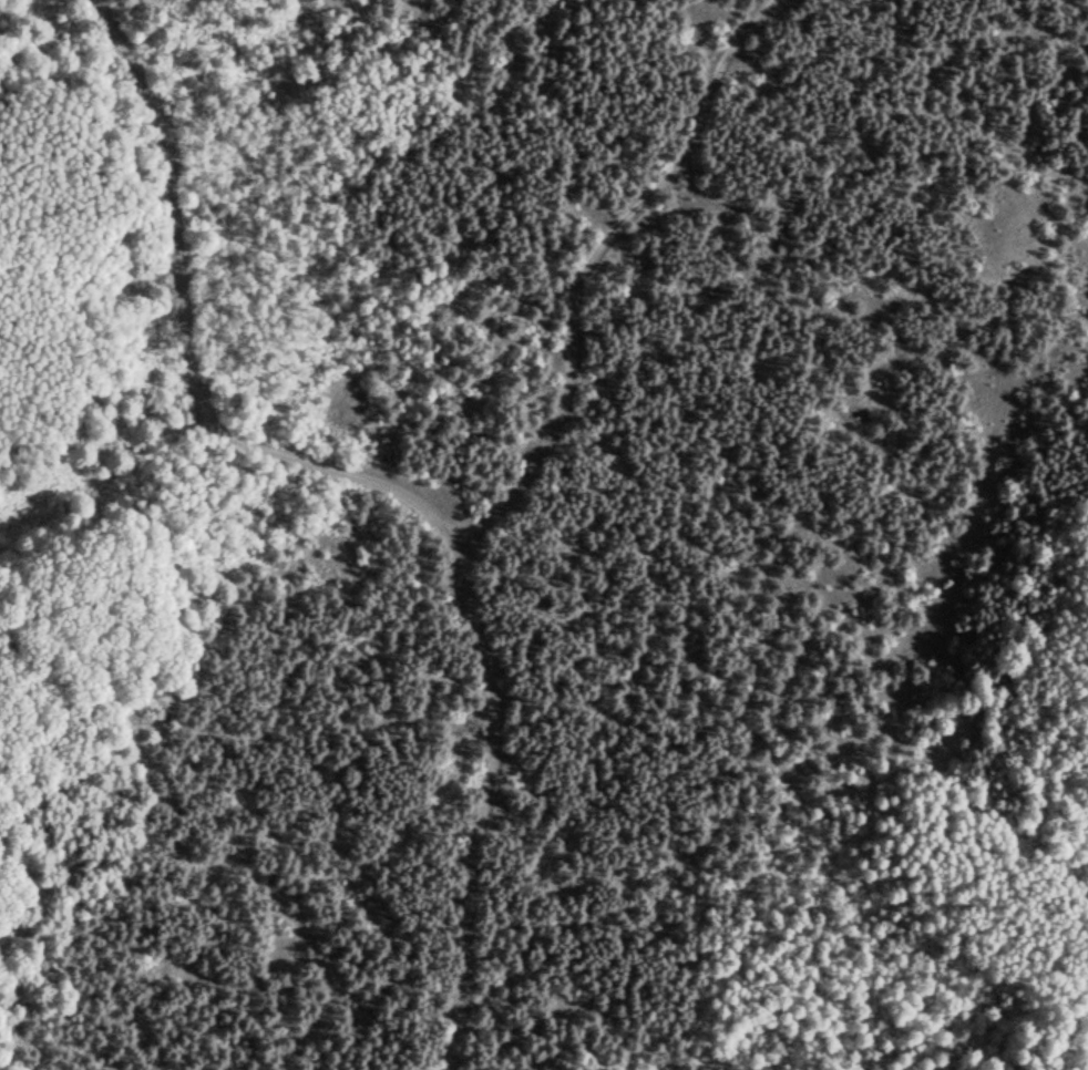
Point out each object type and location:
road: (189, 347)
road: (510, 501)

